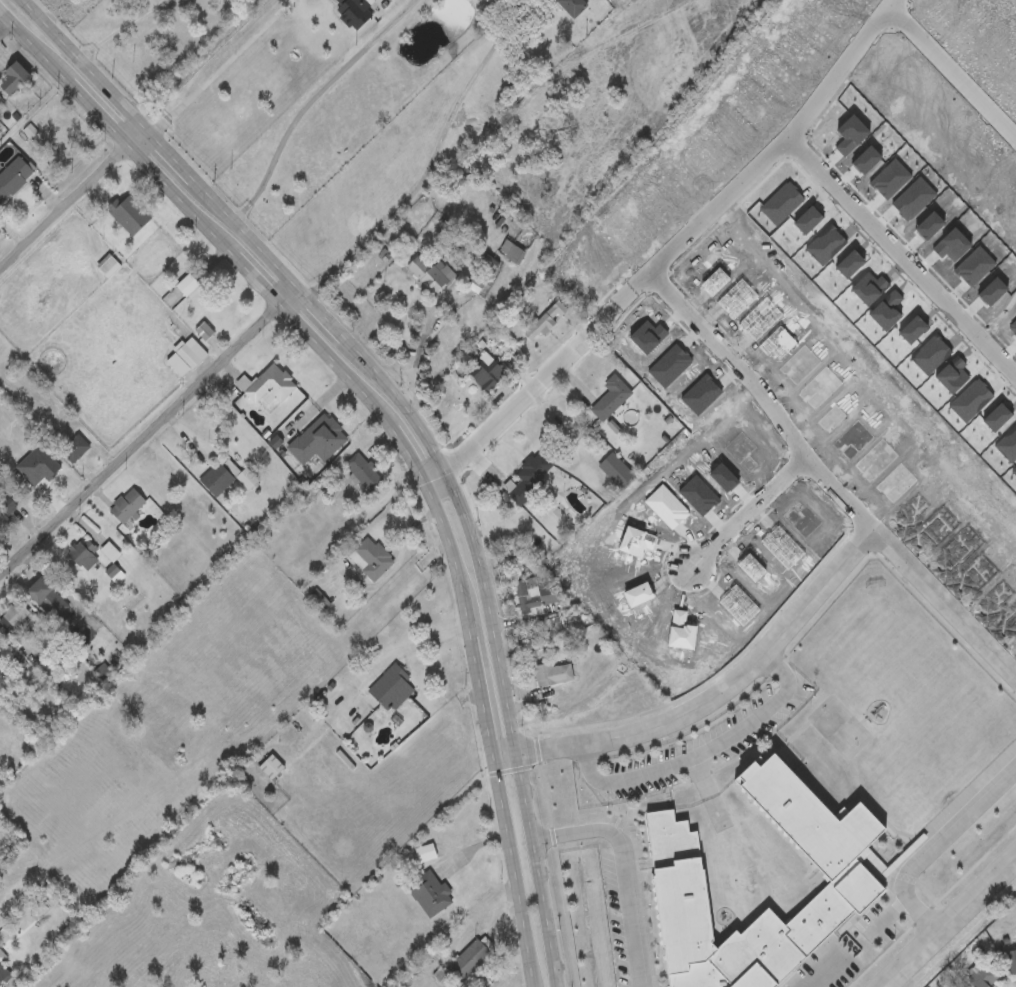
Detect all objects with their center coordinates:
building: (573, 7)
building: (355, 11)
road: (3, 26)
road: (117, 27)
road: (560, 67)
road: (954, 69)
road: (216, 70)
building: (15, 79)
building: (2, 101)
road: (307, 102)
road: (427, 162)
road: (753, 177)
building: (14, 178)
road: (69, 201)
building: (130, 215)
building: (513, 254)
road: (905, 254)
building: (108, 267)
building: (431, 276)
building: (188, 286)
building: (545, 323)
building: (187, 359)
road: (416, 359)
building: (487, 375)
building: (269, 386)
road: (574, 386)
road: (770, 395)
building: (612, 399)
road: (512, 417)
road: (413, 425)
road: (394, 432)
road: (146, 435)
building: (318, 441)
building: (75, 449)
road: (482, 470)
building: (617, 471)
building: (45, 472)
building: (364, 473)
building: (155, 478)
building: (528, 479)
building: (248, 480)
building: (217, 481)
building: (127, 507)
building: (7, 511)
road: (752, 513)
building: (111, 553)
building: (372, 560)
building: (48, 600)
building: (531, 601)
road: (942, 605)
building: (13, 618)
building: (1, 647)
road: (394, 649)
building: (554, 676)
building: (393, 691)
road: (711, 699)
building: (556, 748)
road: (698, 751)
building: (272, 769)
road: (937, 846)
building: (426, 855)
road: (623, 868)
building: (674, 869)
building: (431, 895)
road: (946, 920)
building: (1009, 959)
building: (465, 965)
building: (979, 972)
building: (3, 975)

